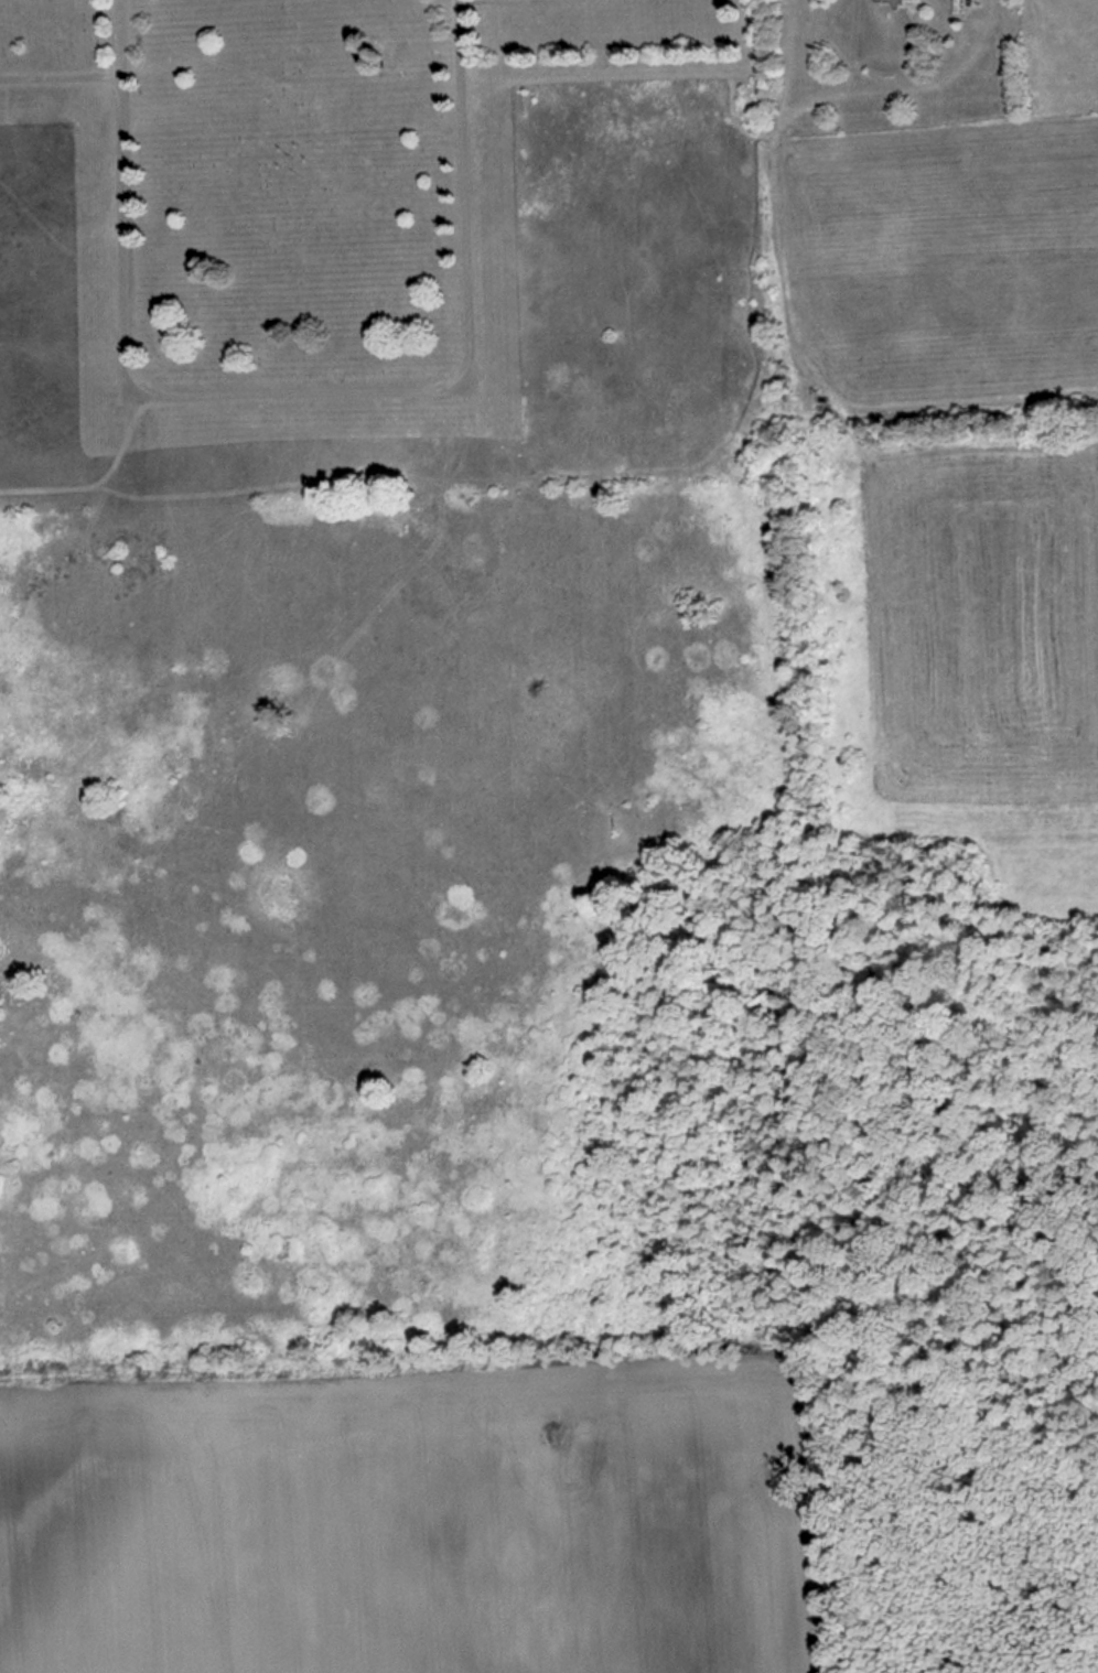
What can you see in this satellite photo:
building: (884, 0)
building: (916, 0)

